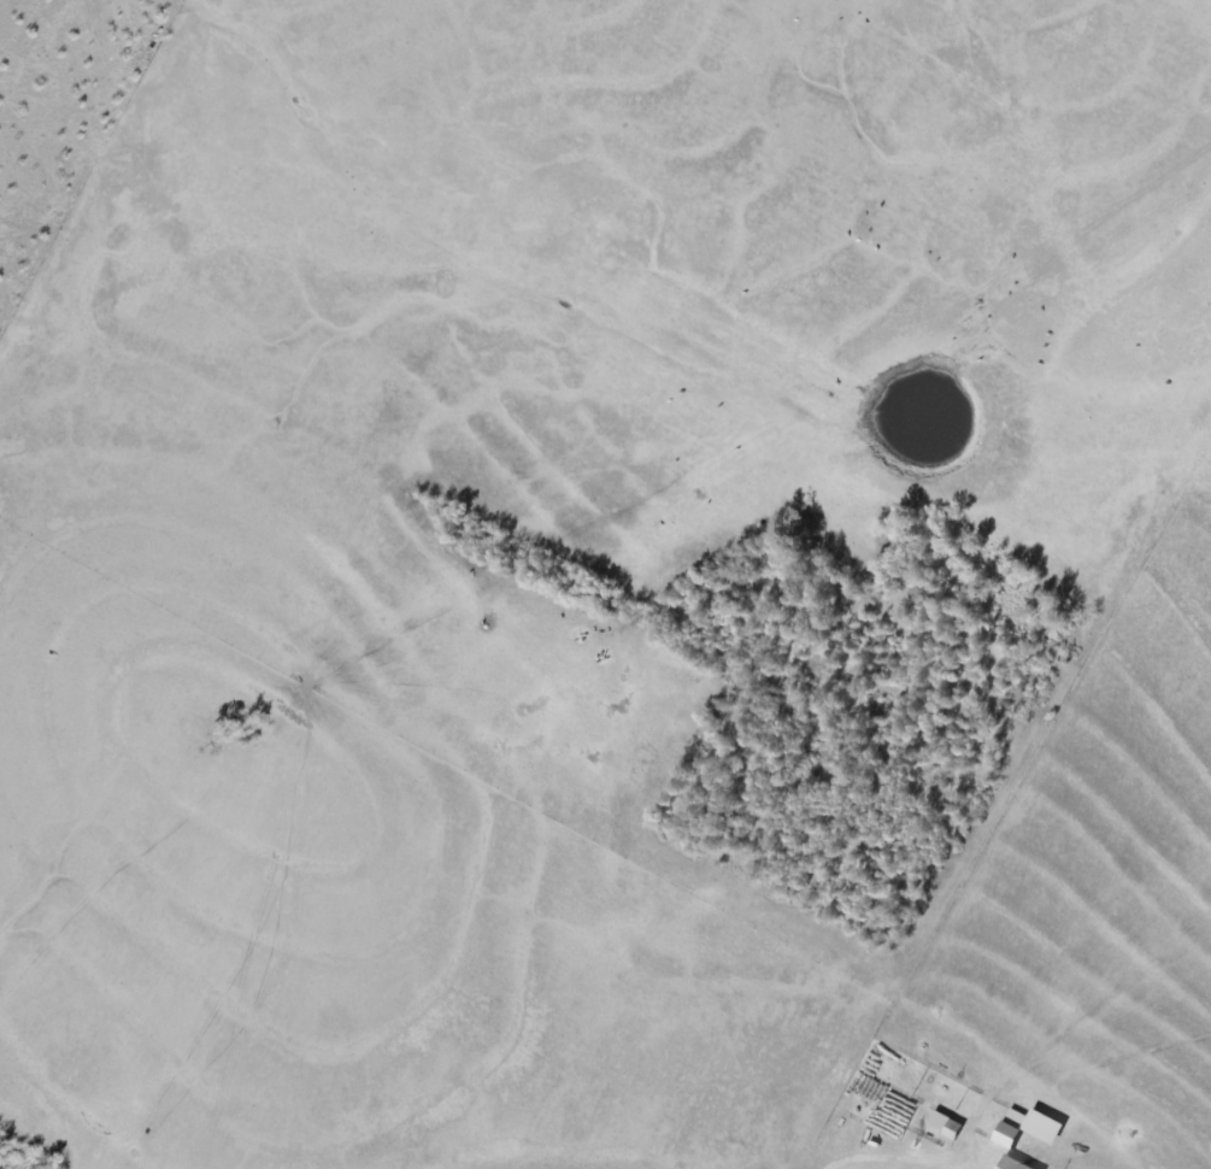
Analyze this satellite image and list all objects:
crop: (569, 558)

